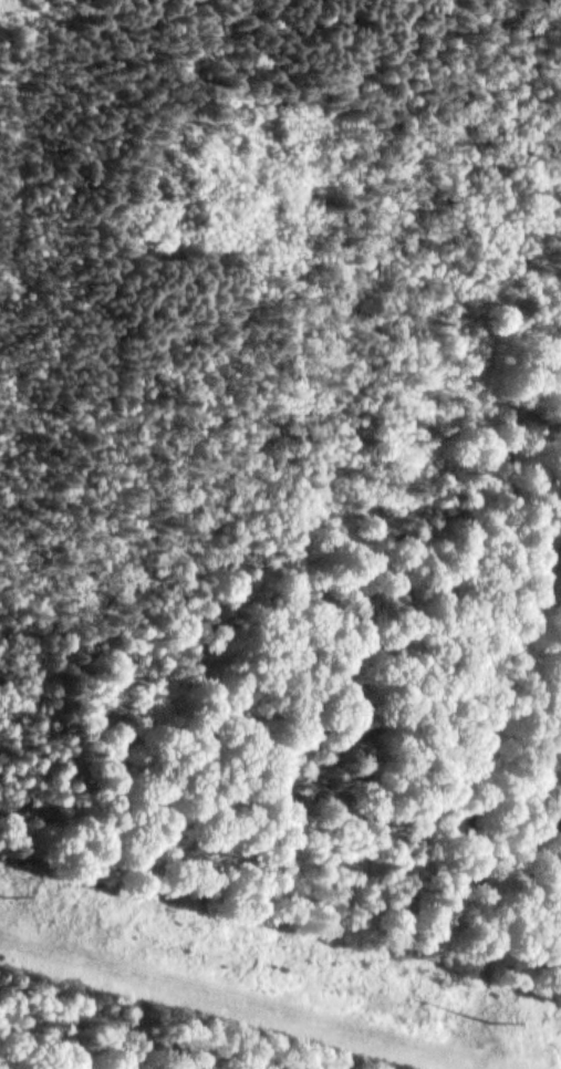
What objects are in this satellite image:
power tower: (1, 895)
power tower: (492, 1018)

